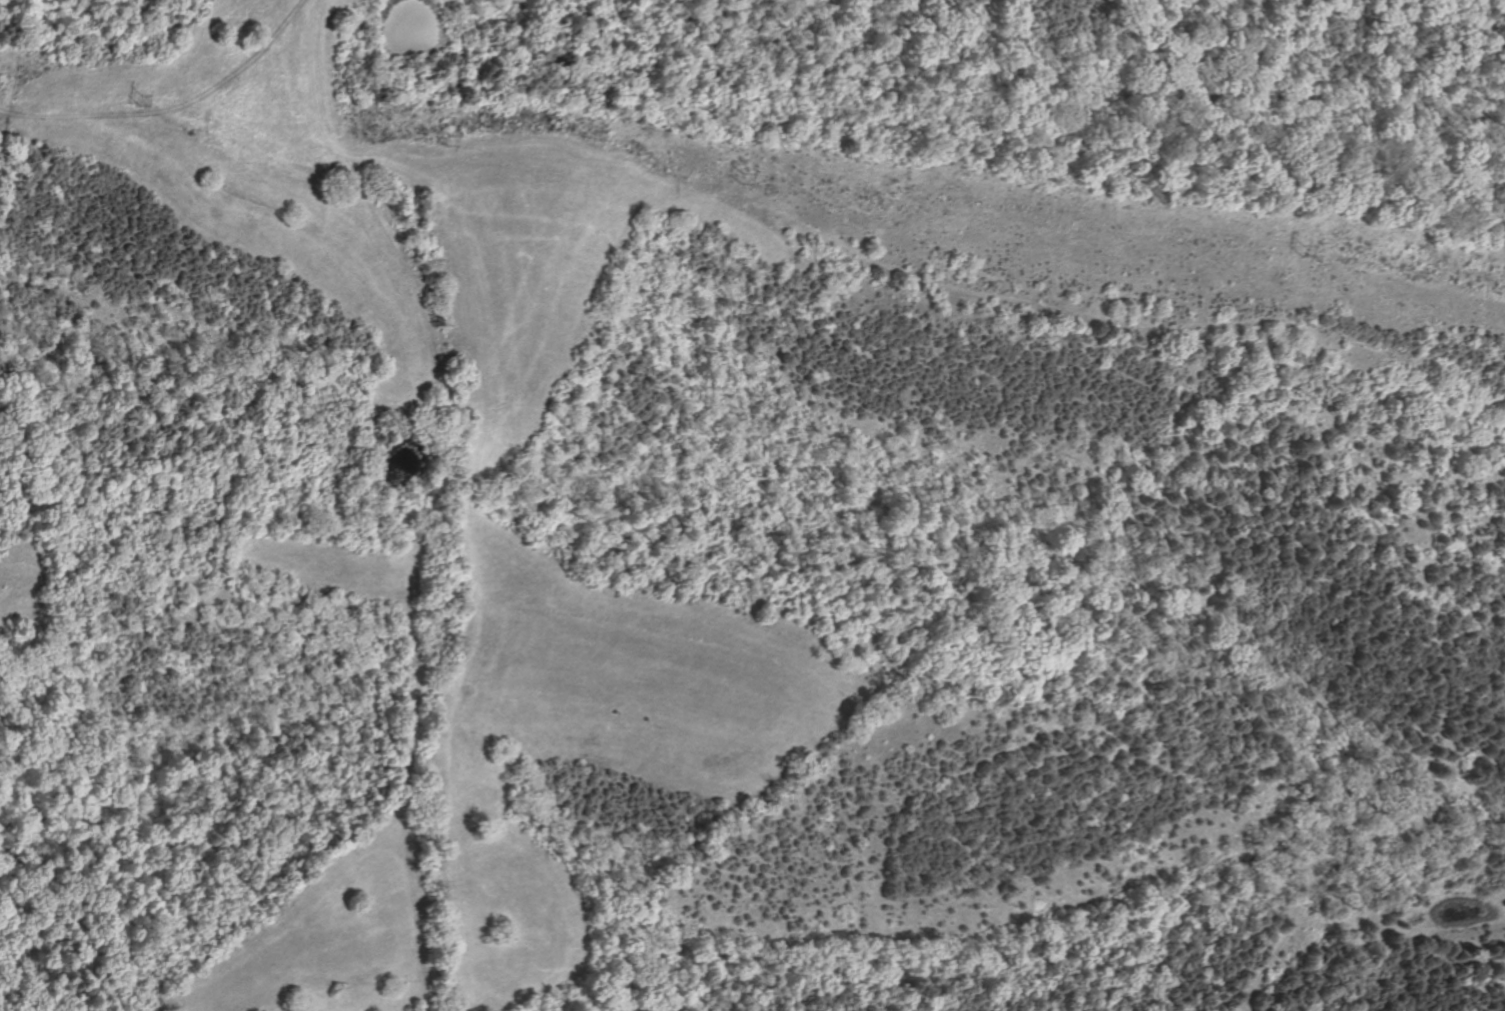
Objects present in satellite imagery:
power tower: (142, 106)
power tower: (443, 147)
power tower: (738, 177)
power tower: (1296, 252)
road: (435, 499)

